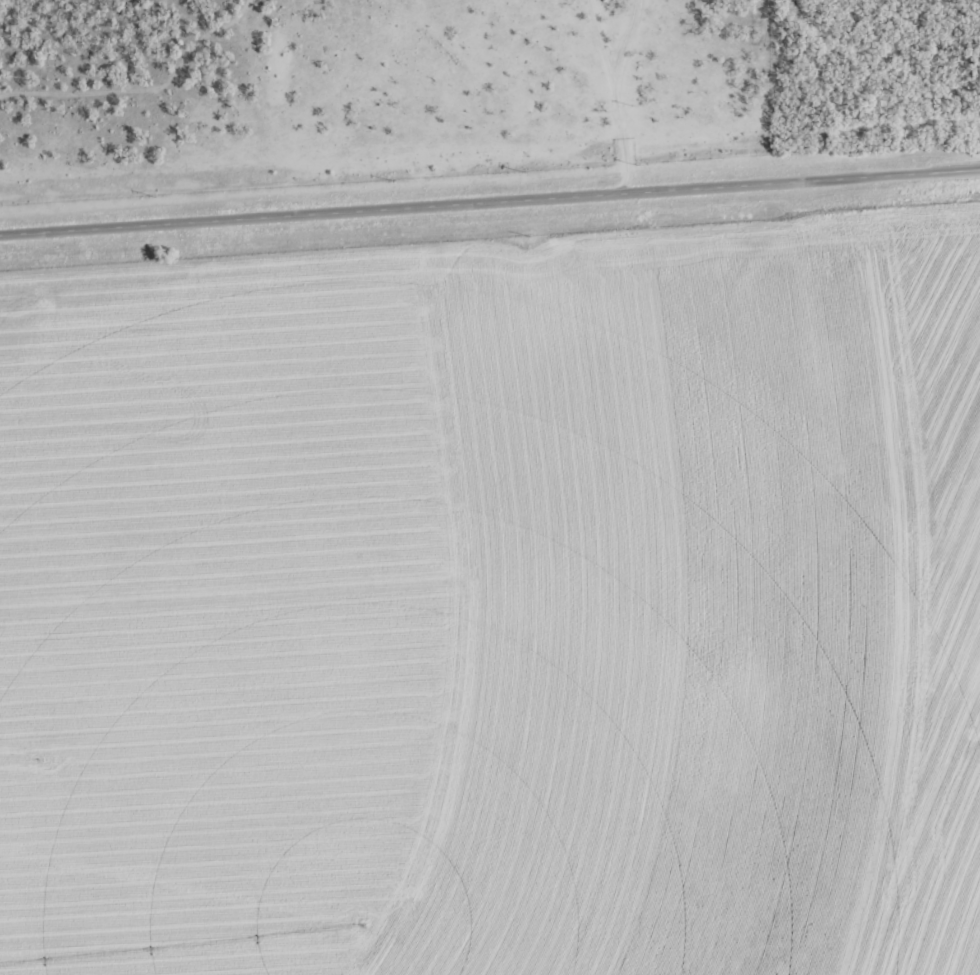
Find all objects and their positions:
road: (624, 90)
railway: (490, 180)
road: (489, 207)

